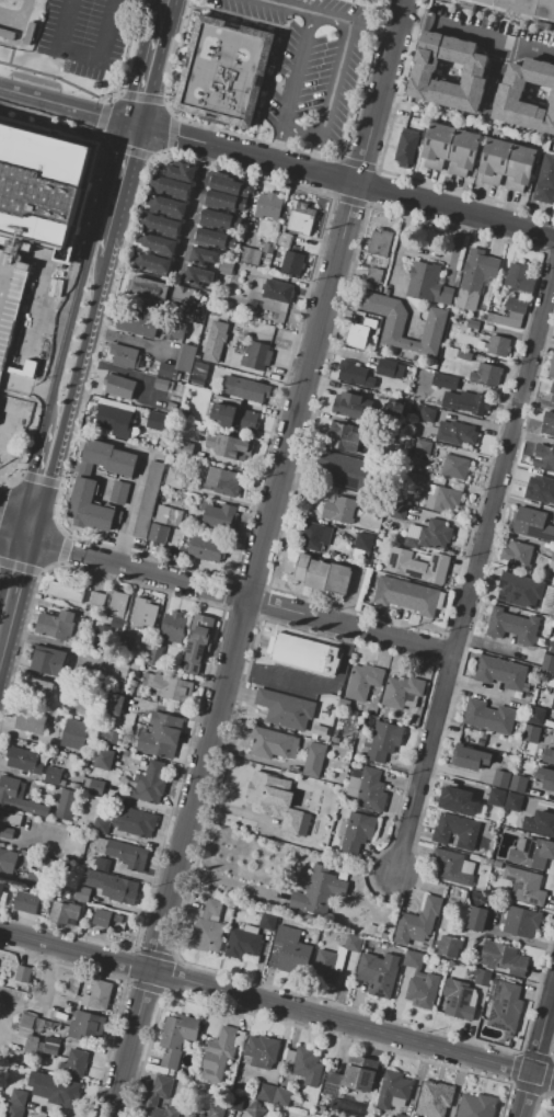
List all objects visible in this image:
building: (10, 2)
road: (293, 5)
building: (522, 8)
road: (164, 12)
road: (332, 16)
road: (373, 27)
building: (7, 33)
road: (477, 33)
parking lot: (86, 35)
road: (83, 54)
road: (9, 57)
building: (449, 70)
road: (57, 71)
building: (229, 71)
road: (55, 75)
road: (148, 75)
road: (493, 76)
road: (380, 91)
building: (526, 92)
road: (120, 93)
road: (141, 95)
road: (112, 96)
road: (163, 100)
road: (105, 102)
road: (67, 105)
road: (170, 109)
road: (101, 117)
road: (174, 117)
traffic signals: (135, 124)
road: (171, 134)
building: (437, 145)
building: (406, 148)
road: (128, 150)
road: (170, 151)
building: (463, 152)
road: (161, 155)
road: (151, 158)
road: (357, 163)
building: (507, 164)
road: (380, 170)
building: (183, 172)
road: (122, 174)
road: (335, 178)
road: (344, 180)
building: (546, 181)
building: (226, 185)
building: (39, 186)
building: (171, 186)
road: (372, 187)
building: (244, 192)
building: (221, 200)
road: (348, 200)
building: (241, 204)
building: (166, 206)
building: (268, 206)
road: (196, 209)
building: (216, 218)
building: (301, 218)
building: (236, 221)
building: (162, 225)
road: (546, 233)
building: (210, 238)
building: (284, 239)
building: (231, 241)
building: (157, 243)
building: (380, 243)
building: (267, 248)
road: (423, 253)
road: (547, 253)
building: (249, 255)
building: (204, 257)
building: (154, 263)
building: (292, 263)
building: (226, 266)
building: (374, 274)
building: (476, 275)
building: (197, 276)
building: (520, 278)
building: (428, 284)
building: (149, 289)
building: (278, 290)
building: (182, 293)
building: (497, 299)
building: (510, 312)
road: (84, 315)
building: (13, 318)
parking lot: (13, 318)
building: (136, 323)
building: (369, 323)
building: (404, 323)
building: (473, 324)
building: (174, 333)
building: (357, 335)
building: (216, 341)
building: (240, 346)
building: (497, 346)
building: (125, 356)
building: (464, 356)
building: (255, 357)
building: (178, 363)
building: (386, 367)
building: (551, 367)
building: (199, 374)
building: (354, 374)
building: (486, 374)
building: (446, 380)
building: (162, 384)
building: (118, 386)
building: (181, 389)
building: (244, 389)
building: (552, 392)
building: (173, 397)
building: (466, 401)
building: (159, 402)
building: (395, 404)
building: (350, 406)
building: (171, 407)
building: (427, 413)
building: (235, 417)
building: (113, 418)
building: (159, 421)
building: (547, 423)
building: (455, 433)
building: (344, 437)
building: (228, 446)
building: (424, 447)
building: (185, 448)
building: (111, 457)
building: (544, 458)
building: (454, 467)
building: (365, 469)
road: (42, 470)
building: (341, 474)
building: (175, 477)
building: (220, 482)
building: (540, 490)
building: (119, 492)
building: (442, 498)
building: (148, 499)
building: (90, 508)
building: (339, 510)
building: (399, 512)
road: (14, 514)
building: (218, 514)
building: (169, 516)
building: (531, 524)
building: (159, 533)
road: (12, 534)
building: (428, 535)
building: (315, 536)
traffic signals: (24, 537)
building: (363, 542)
building: (206, 548)
building: (517, 554)
building: (551, 561)
building: (418, 566)
road: (136, 567)
road: (474, 567)
building: (322, 574)
road: (252, 578)
road: (12, 585)
building: (520, 590)
building: (66, 591)
building: (406, 595)
building: (96, 599)
building: (547, 599)
building: (116, 603)
building: (143, 614)
building: (56, 625)
road: (349, 626)
building: (513, 626)
building: (173, 627)
road: (442, 632)
building: (102, 637)
building: (198, 642)
building: (126, 645)
road: (366, 646)
building: (551, 647)
building: (303, 653)
building: (154, 654)
building: (49, 661)
building: (547, 662)
building: (123, 669)
building: (501, 673)
building: (90, 675)
building: (362, 682)
building: (132, 683)
building: (168, 686)
road: (310, 686)
building: (43, 691)
building: (402, 691)
building: (116, 705)
building: (553, 707)
building: (286, 708)
building: (488, 716)
building: (536, 716)
building: (31, 720)
building: (319, 731)
building: (531, 733)
building: (74, 734)
building: (161, 736)
building: (107, 737)
building: (334, 740)
building: (384, 740)
building: (273, 743)
building: (549, 755)
building: (471, 756)
building: (132, 757)
building: (103, 759)
building: (23, 760)
building: (315, 760)
building: (53, 775)
building: (546, 777)
building: (501, 779)
building: (150, 783)
building: (518, 783)
building: (74, 785)
building: (96, 786)
building: (370, 790)
building: (19, 797)
building: (497, 797)
building: (458, 800)
building: (277, 801)
building: (513, 801)
building: (66, 803)
building: (134, 821)
building: (540, 823)
building: (8, 824)
building: (101, 825)
building: (457, 831)
building: (357, 832)
building: (22, 852)
building: (532, 852)
building: (124, 853)
building: (7, 862)
building: (102, 864)
building: (452, 867)
building: (45, 875)
road: (228, 884)
building: (522, 886)
building: (113, 887)
building: (1, 889)
building: (319, 890)
building: (82, 893)
building: (27, 903)
building: (65, 912)
building: (102, 917)
building: (477, 917)
building: (268, 921)
building: (521, 921)
building: (417, 922)
building: (208, 927)
building: (376, 932)
building: (243, 943)
building: (450, 946)
building: (292, 950)
road: (73, 951)
building: (503, 958)
building: (337, 960)
building: (469, 971)
building: (377, 974)
building: (24, 976)
building: (482, 976)
building: (420, 982)
building: (95, 993)
building: (460, 1000)
building: (505, 1005)
building: (86, 1026)
road: (350, 1026)
building: (30, 1028)
building: (176, 1037)
building: (51, 1042)
road: (129, 1044)
building: (31, 1045)
road: (536, 1050)
road: (552, 1050)
building: (49, 1051)
building: (262, 1051)
building: (220, 1053)
road: (535, 1056)
building: (76, 1062)
building: (307, 1065)
road: (515, 1067)
building: (356, 1074)
road: (546, 1076)
building: (162, 1087)
building: (55, 1088)
building: (393, 1088)
road: (526, 1088)
building: (265, 1092)
building: (281, 1096)
building: (18, 1097)
building: (435, 1098)
road: (538, 1098)
building: (236, 1102)
building: (476, 1105)
building: (255, 1109)
building: (319, 1109)
building: (14, 1110)
building: (217, 1112)
building: (189, 1114)
building: (553, 1114)
building: (400, 1115)

